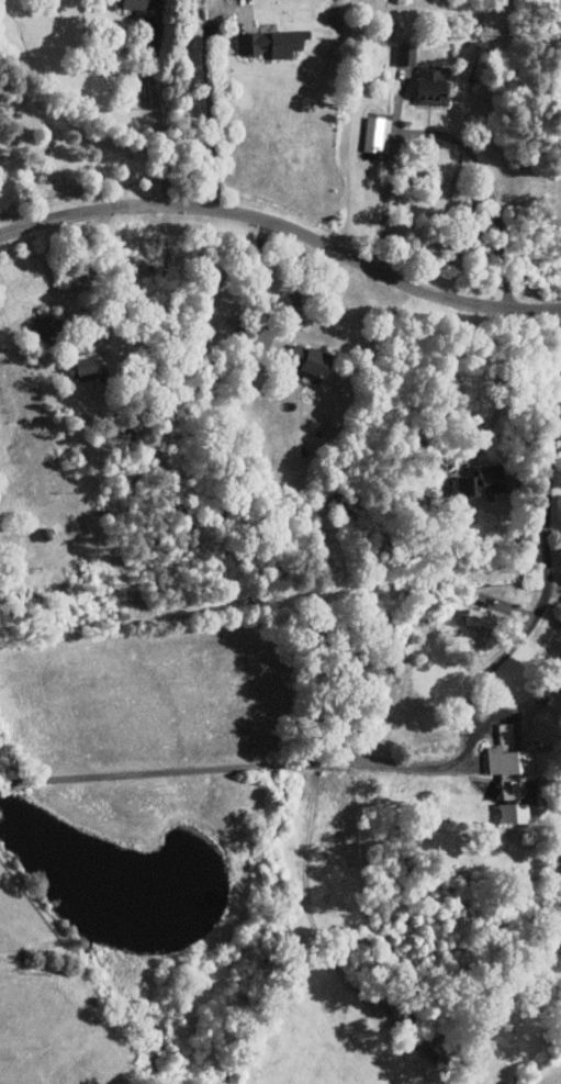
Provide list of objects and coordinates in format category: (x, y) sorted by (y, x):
building: (139, 3)
building: (271, 43)
building: (406, 54)
building: (436, 85)
road: (212, 119)
road: (158, 120)
road: (389, 178)
road: (490, 187)
road: (284, 228)
road: (117, 282)
road: (259, 287)
building: (44, 325)
building: (313, 359)
building: (89, 366)
road: (506, 393)
building: (489, 481)
road: (548, 562)
building: (482, 618)
road: (224, 770)
building: (510, 774)
road: (308, 914)

